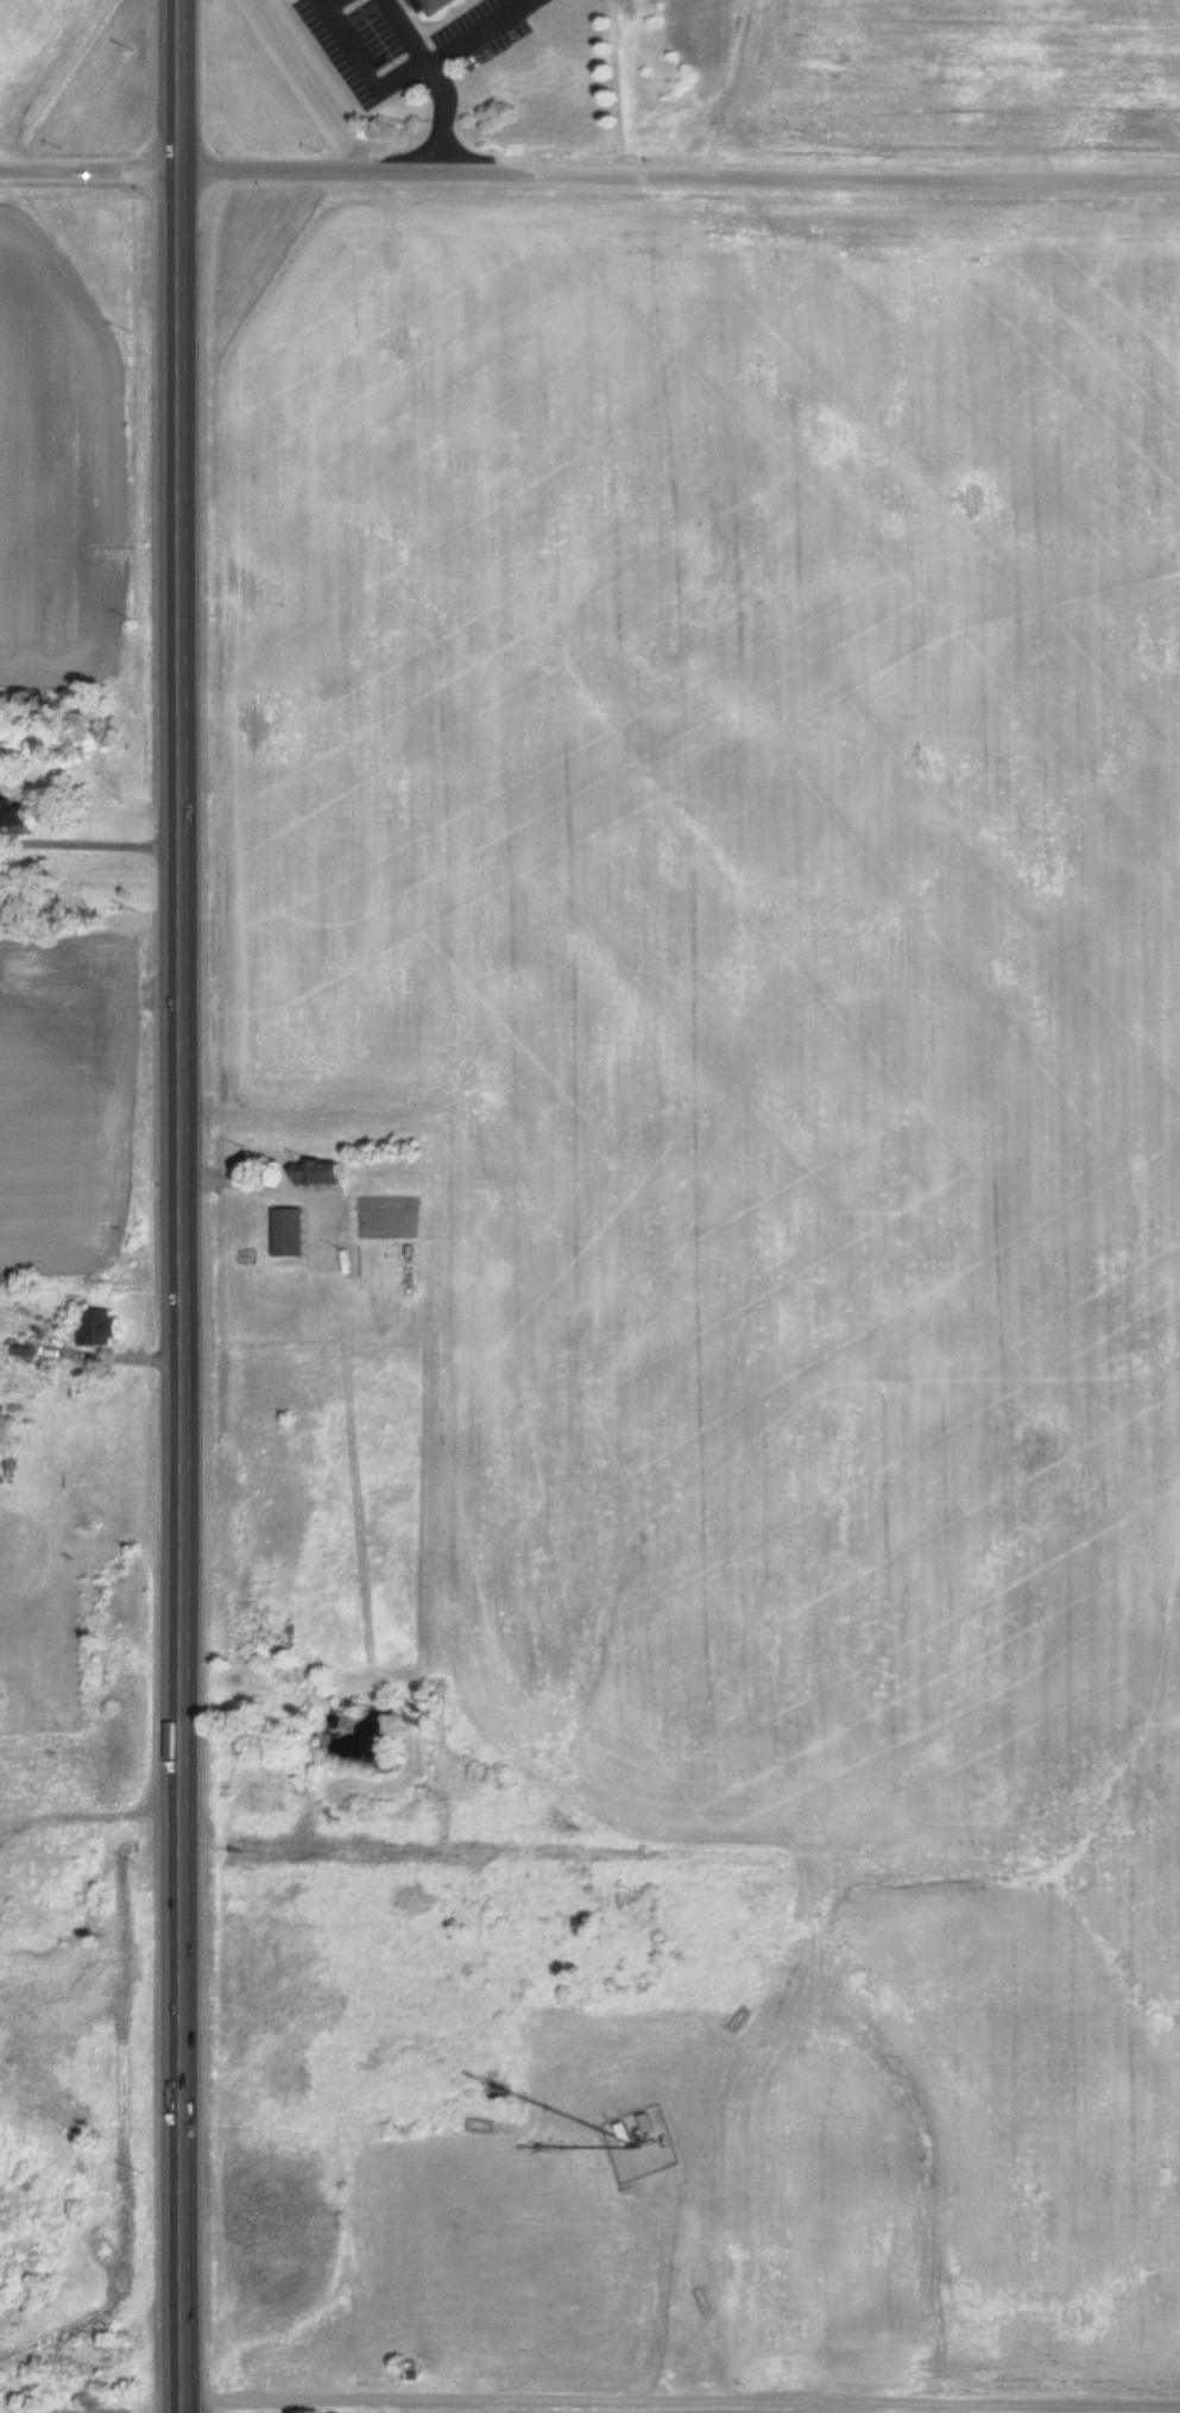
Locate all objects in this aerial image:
road: (520, 2)
road: (526, 2)
building: (427, 5)
parking lot: (411, 43)
road: (347, 46)
road: (450, 49)
road: (436, 77)
road: (92, 165)
road: (681, 175)
building: (13, 815)
building: (309, 1170)
road: (178, 1206)
building: (284, 1231)
building: (95, 1328)
road: (681, 2401)

